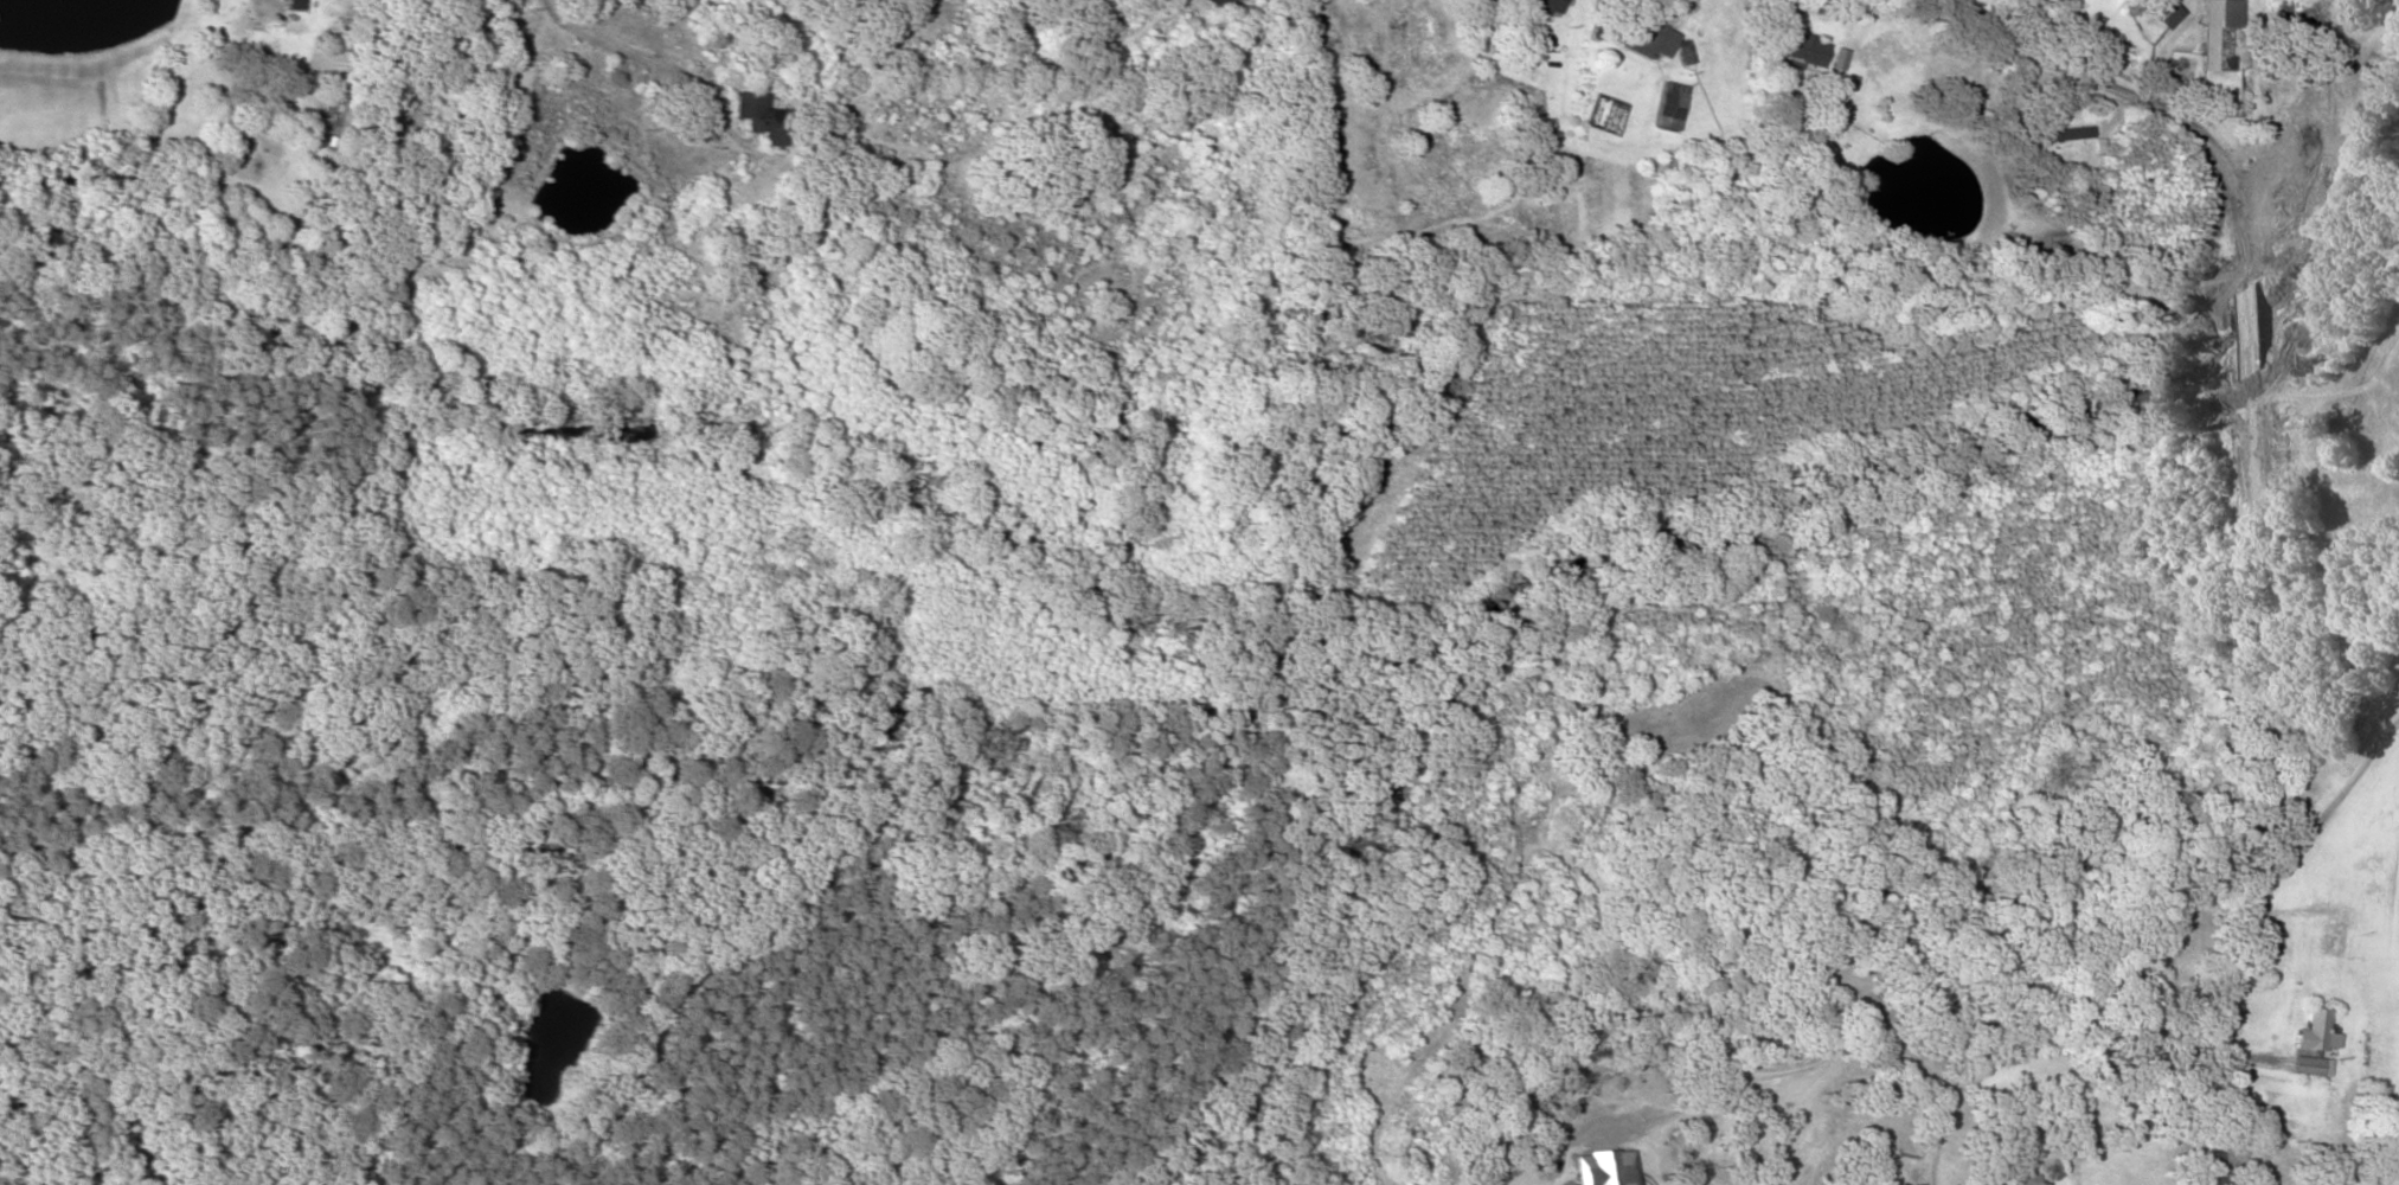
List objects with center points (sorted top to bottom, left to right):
building: (1224, 5)
building: (1545, 5)
building: (2167, 13)
building: (1650, 36)
building: (2218, 47)
building: (1796, 49)
building: (1672, 105)
building: (761, 117)
building: (1801, 136)
building: (2070, 141)
road: (2263, 515)
road: (2345, 773)
building: (2333, 937)
building: (2315, 1032)
building: (2307, 1065)
building: (2276, 1135)
building: (2278, 1168)

